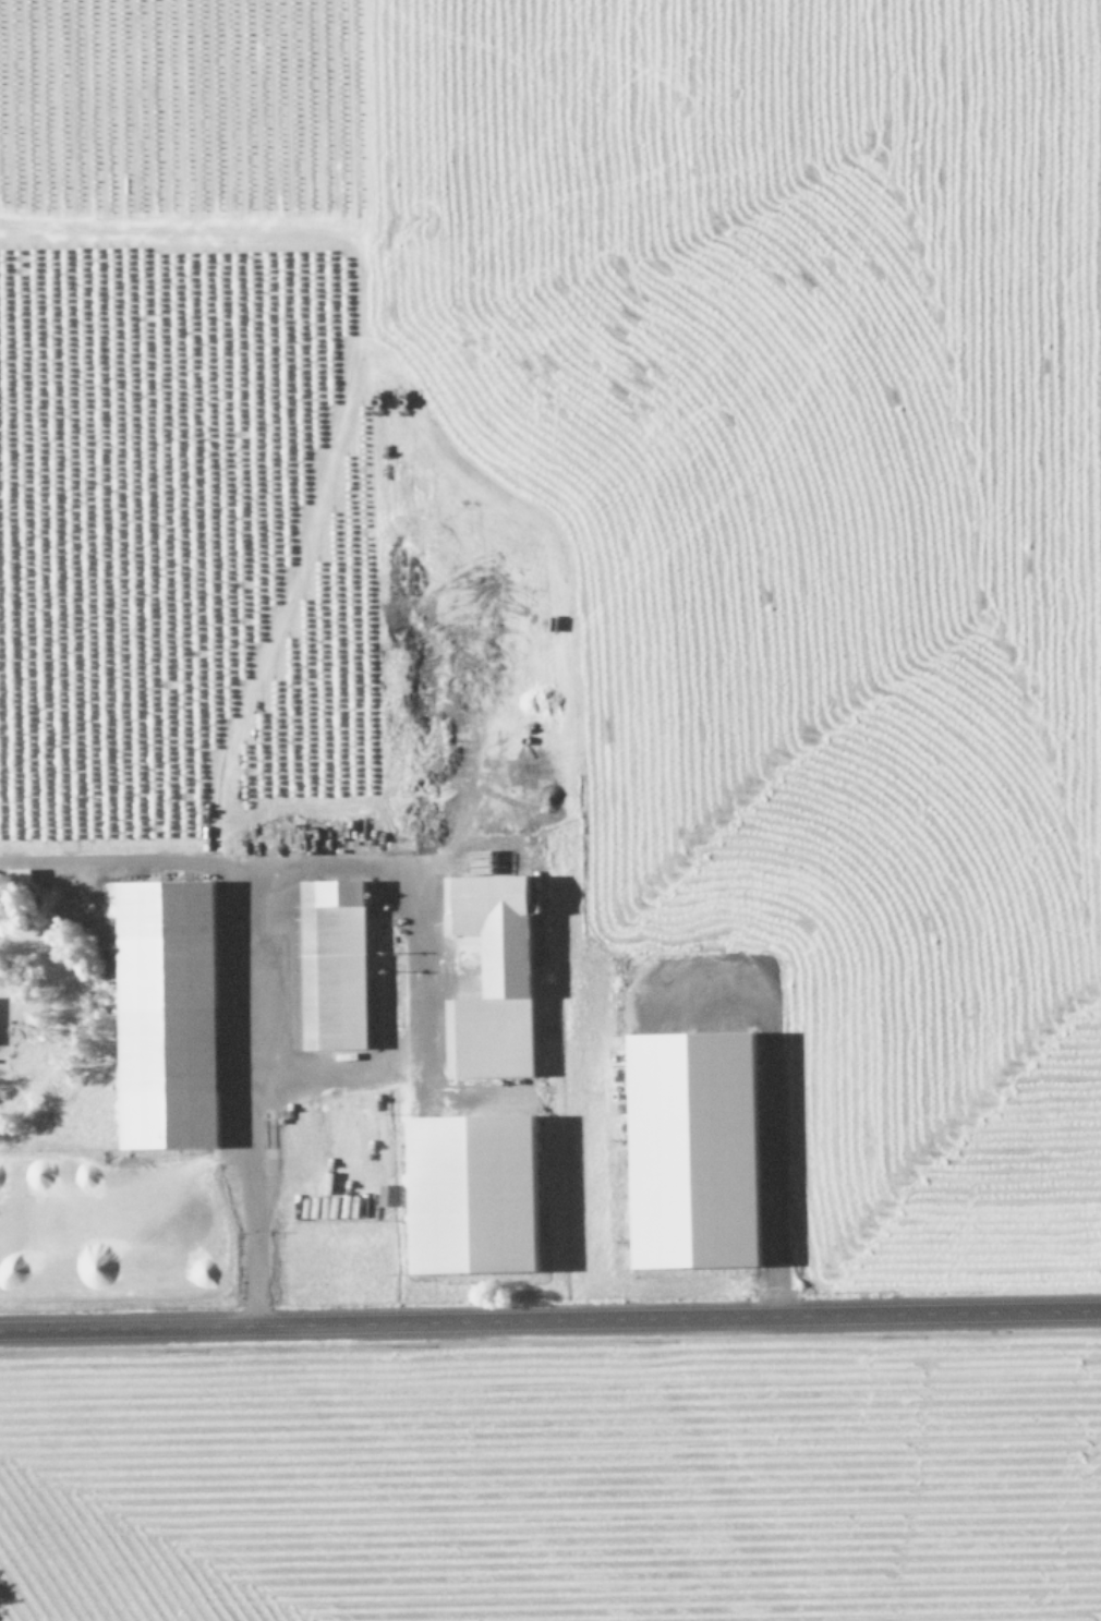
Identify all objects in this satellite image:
crop: (550, 810)
building: (13, 875)
building: (327, 964)
building: (484, 979)
road: (232, 981)
building: (158, 1013)
building: (682, 1149)
building: (461, 1194)
road: (550, 1318)

